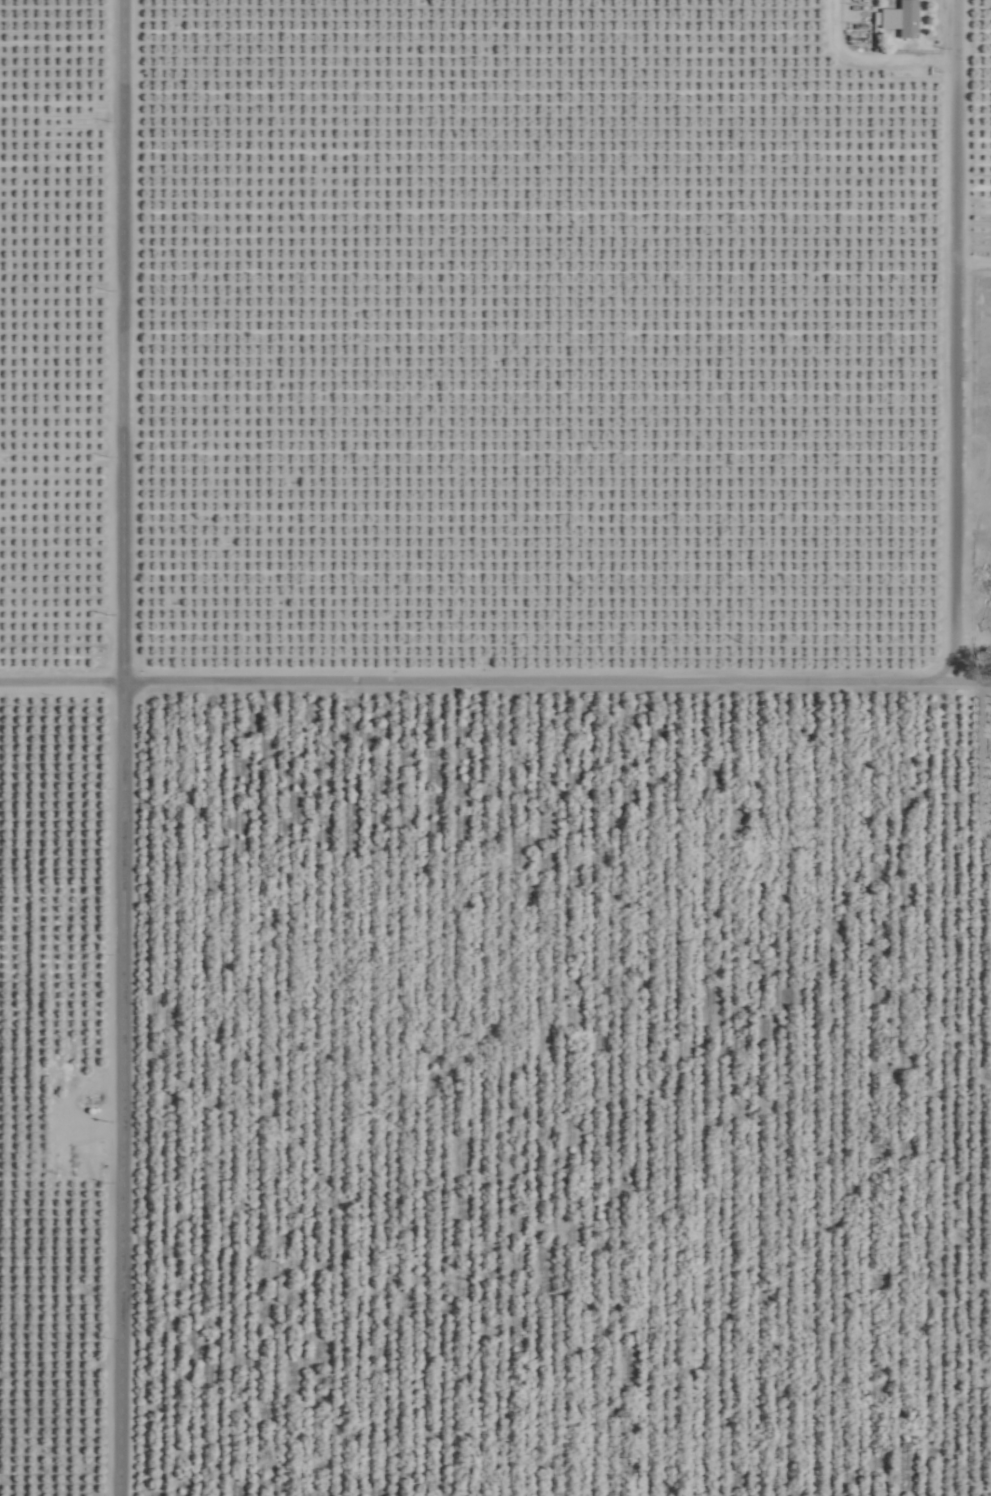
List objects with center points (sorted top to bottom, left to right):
road: (965, 338)
road: (495, 676)
road: (125, 747)
crop: (479, 765)
building: (19, 1149)

